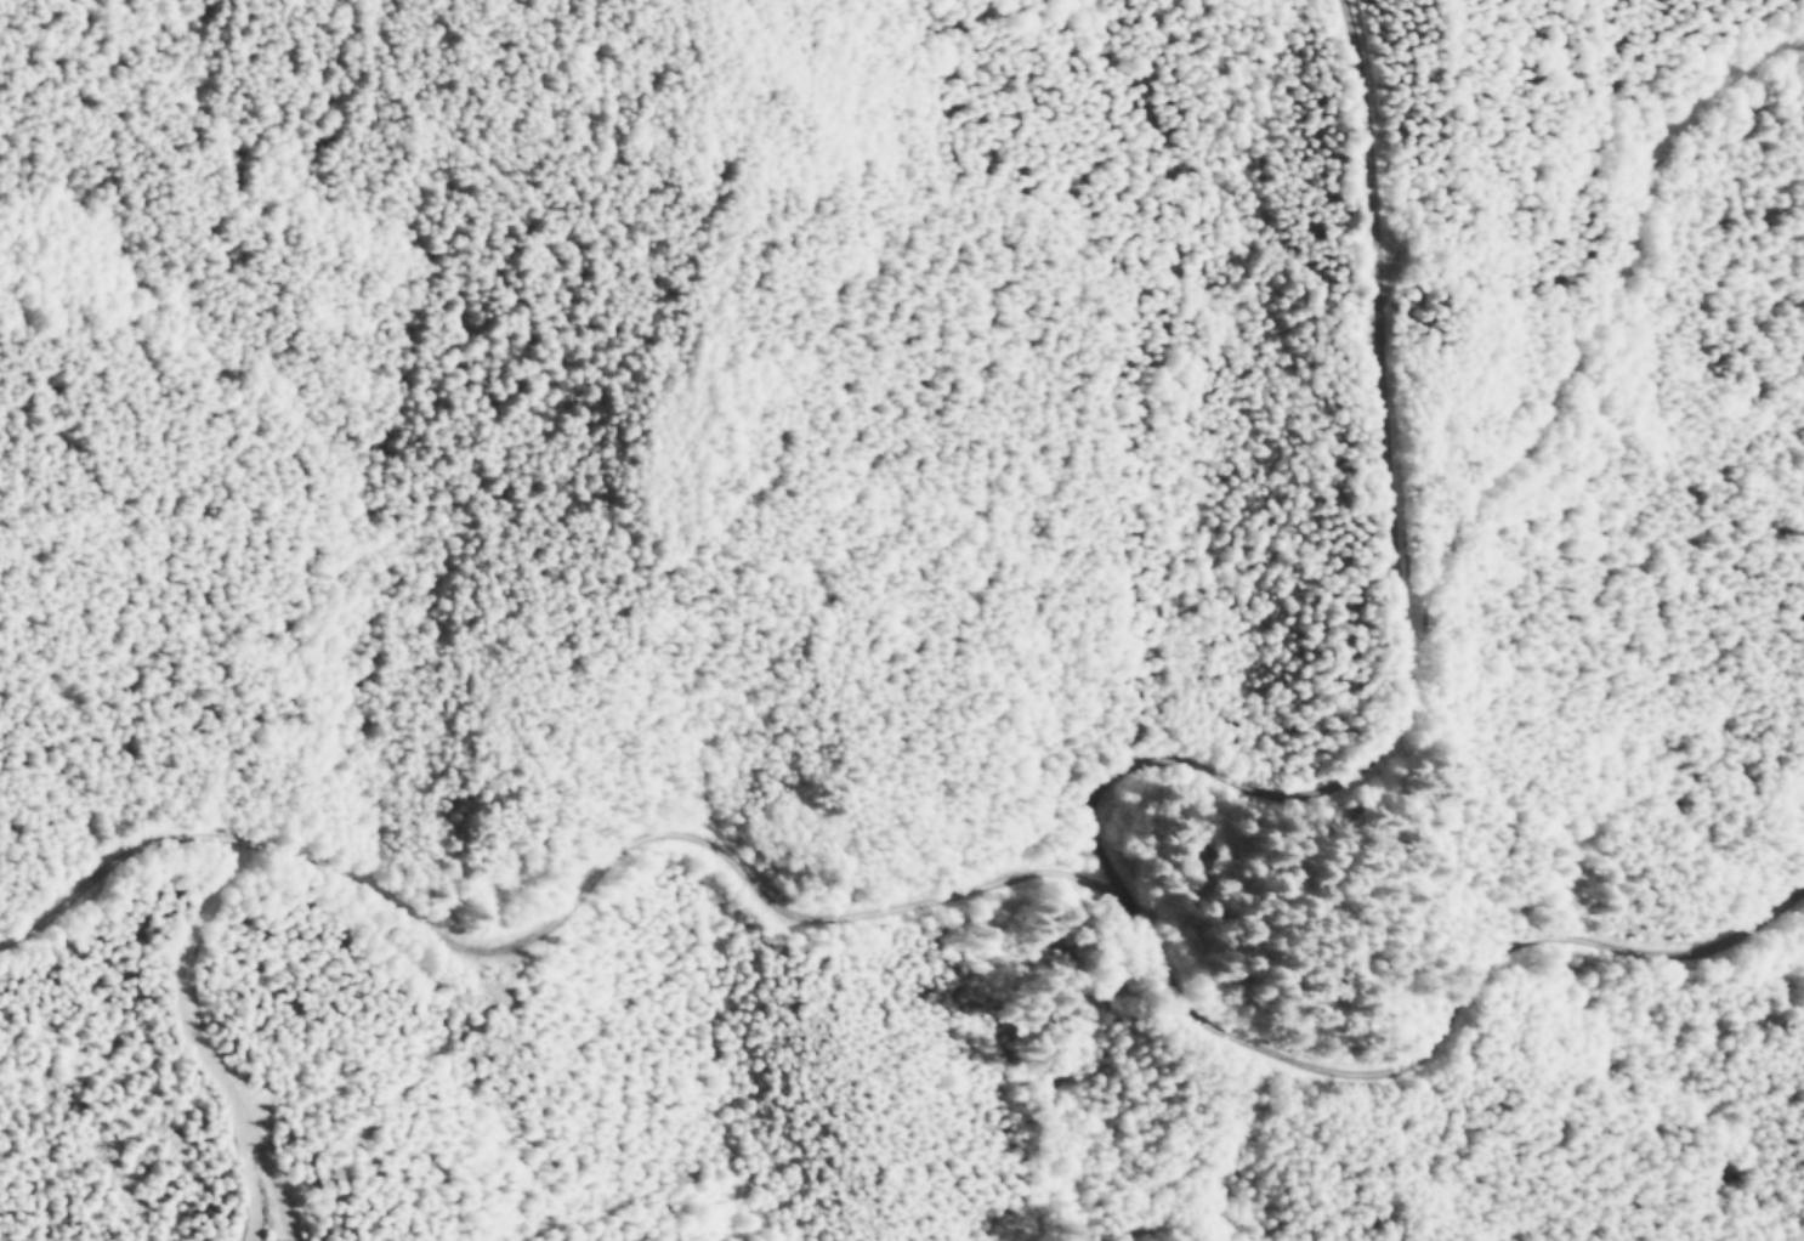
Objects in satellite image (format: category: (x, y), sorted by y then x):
road: (1383, 314)
road: (1592, 319)
road: (1256, 804)
road: (653, 834)
road: (109, 863)
road: (1420, 1035)
road: (204, 1037)

